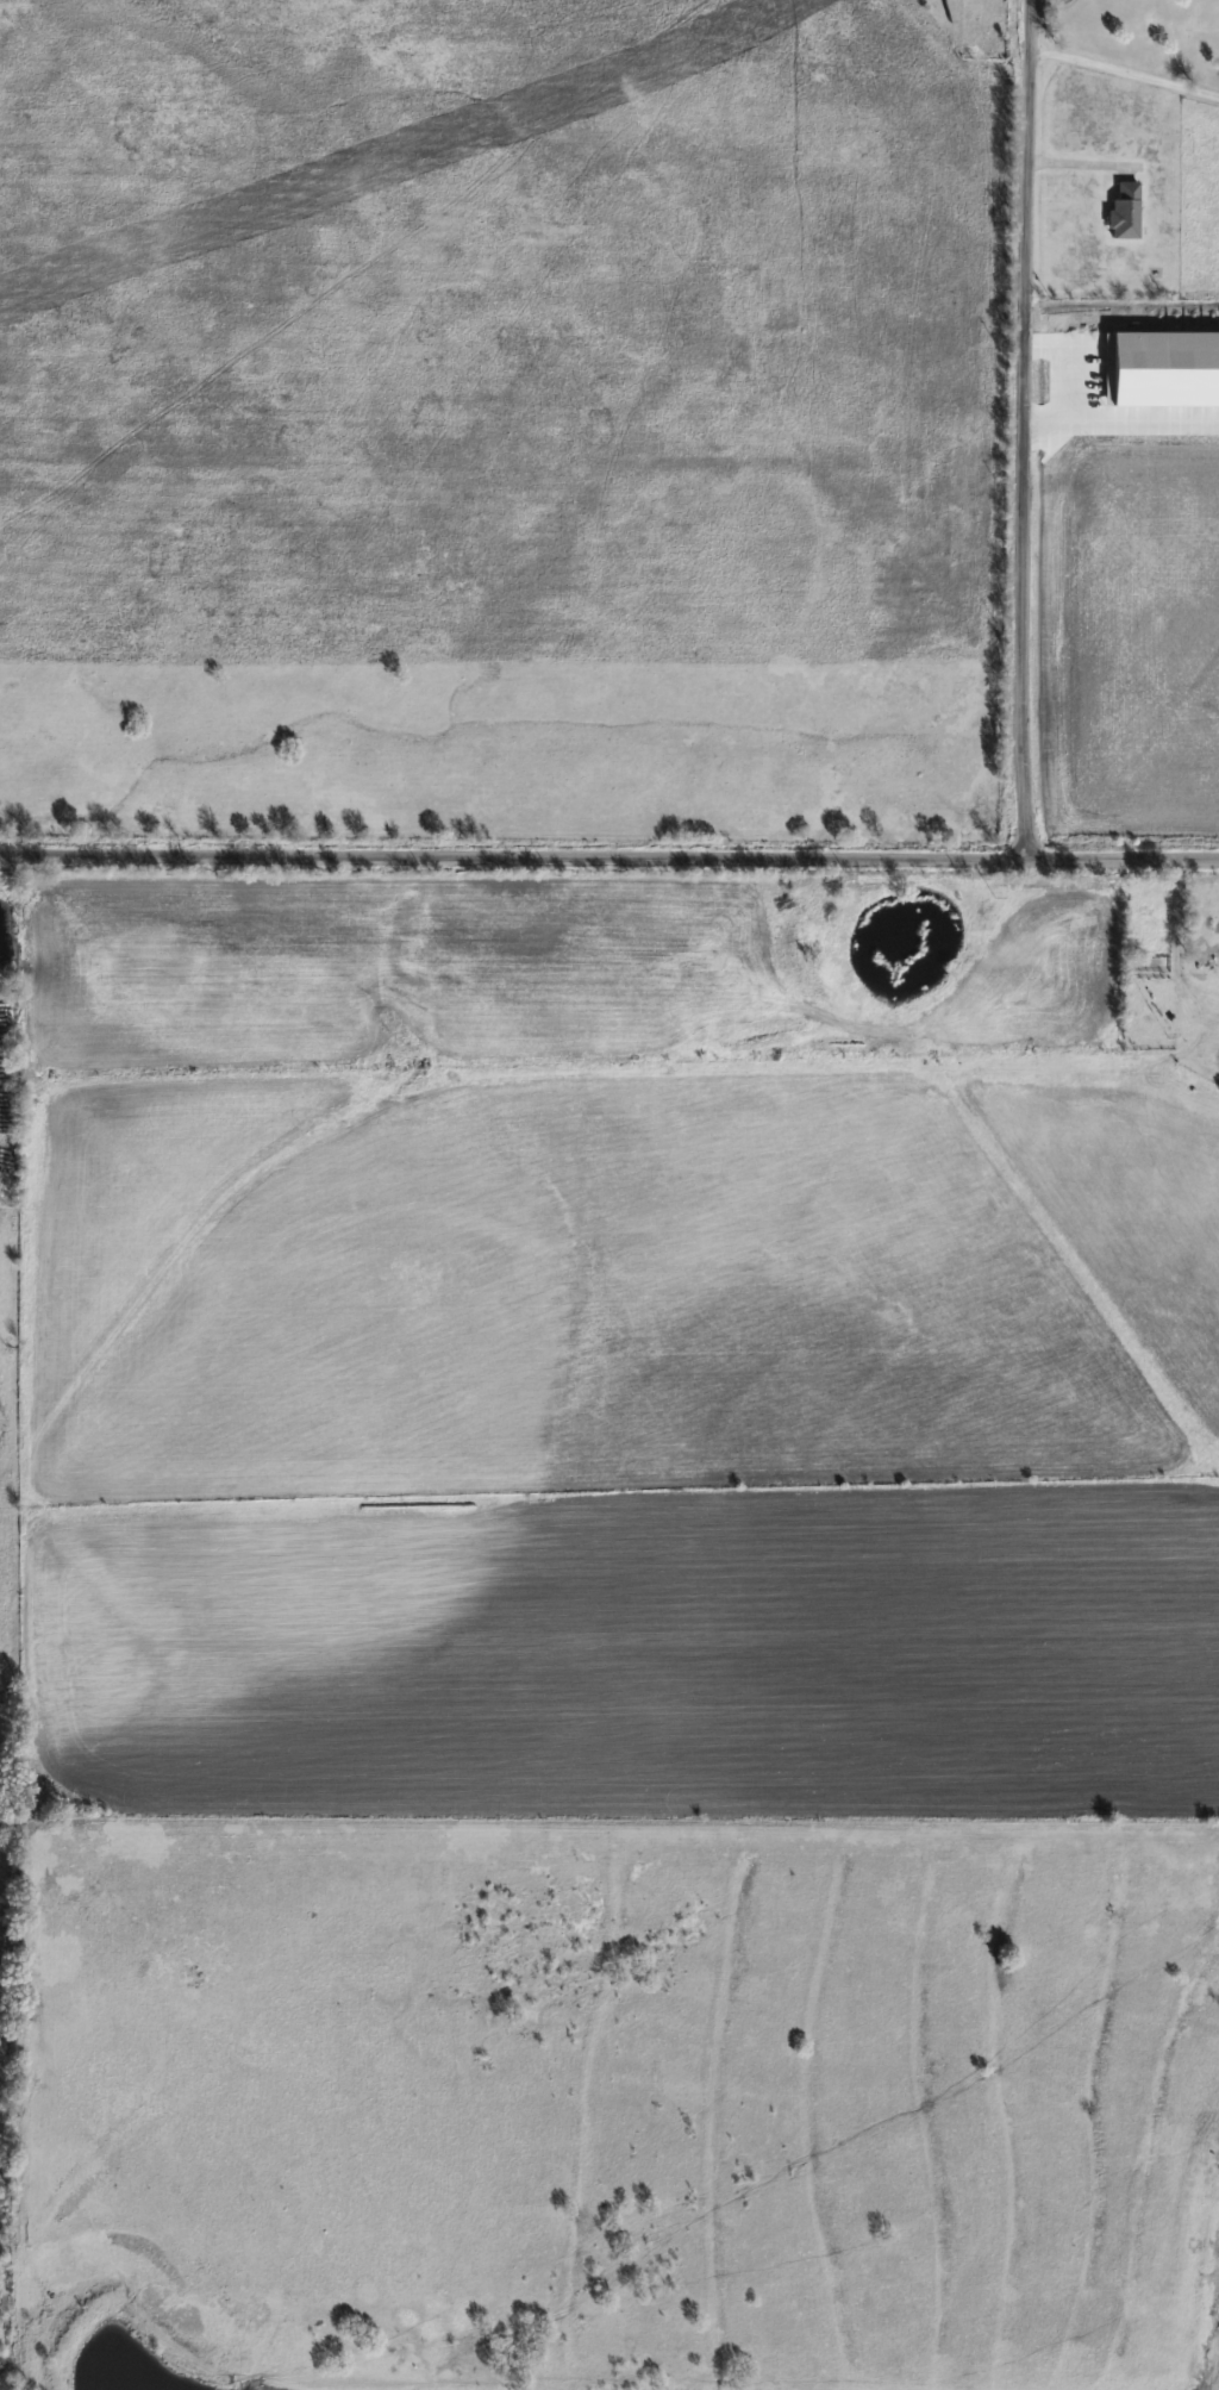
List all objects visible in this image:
road: (1124, 74)
building: (1121, 213)
road: (1024, 430)
road: (609, 859)
building: (1151, 924)

